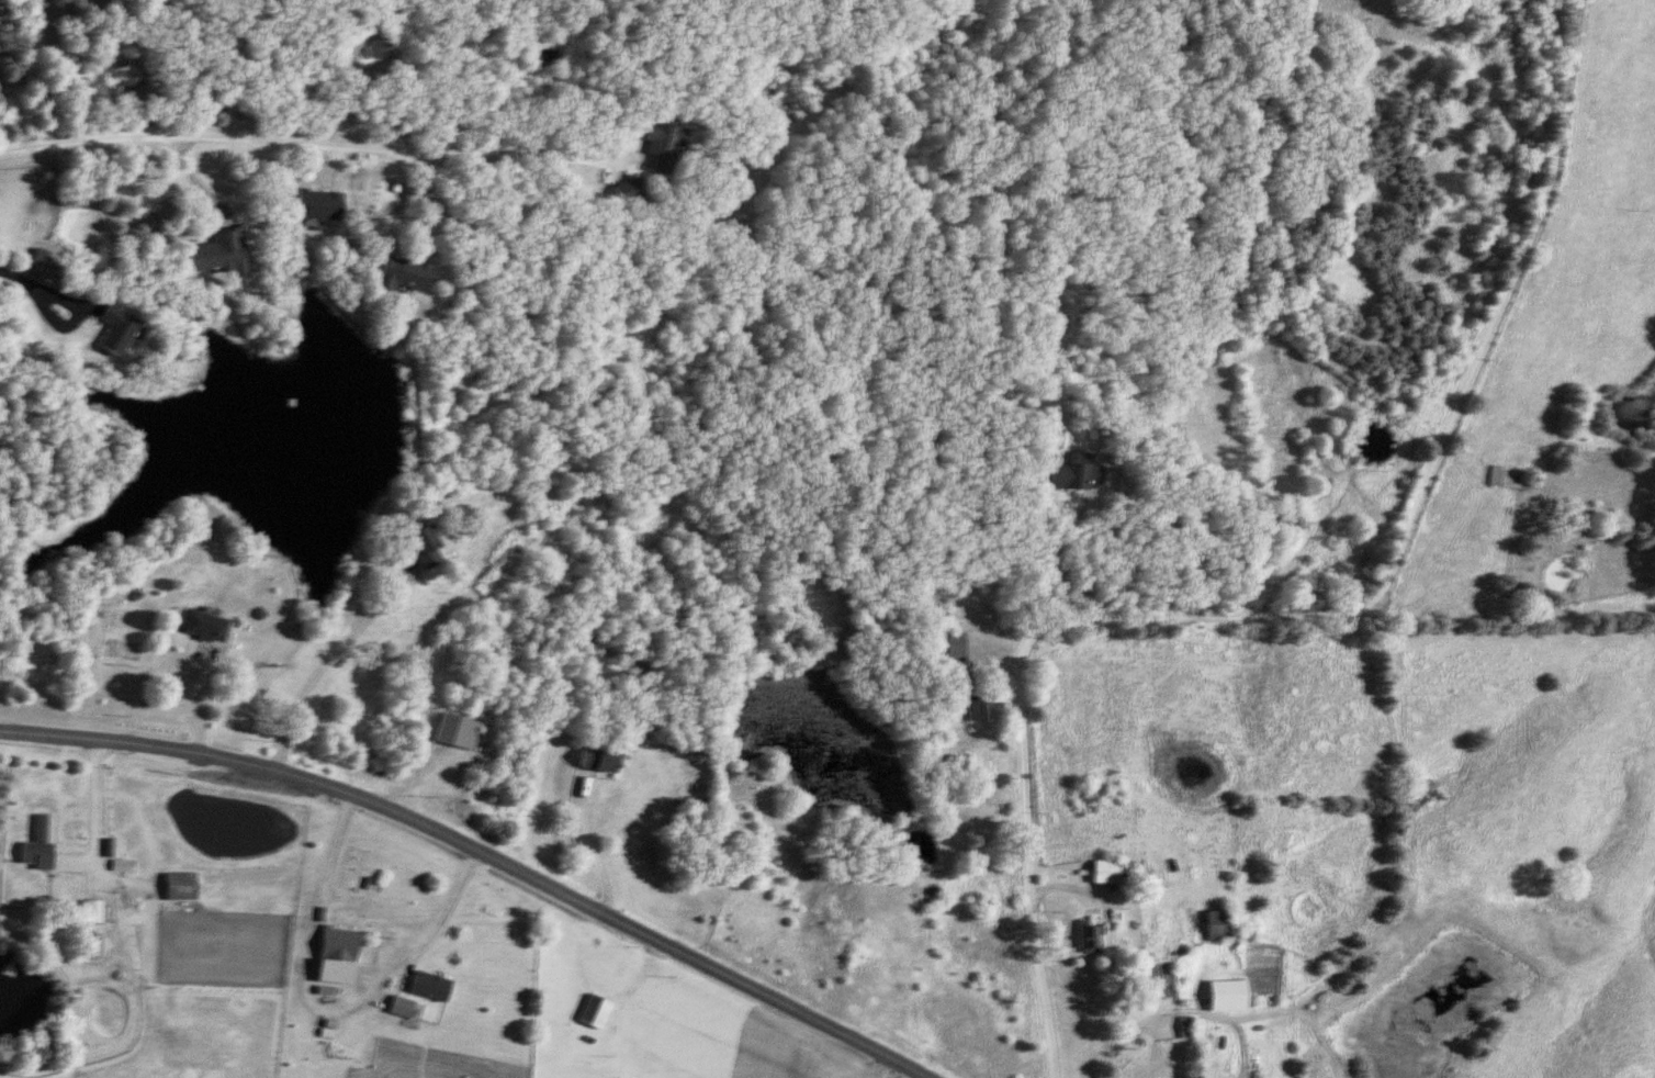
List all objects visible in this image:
road: (309, 144)
building: (656, 147)
building: (624, 191)
building: (312, 205)
building: (212, 252)
building: (392, 274)
road: (44, 314)
building: (109, 330)
building: (1043, 339)
building: (1069, 472)
building: (1502, 479)
building: (415, 548)
road: (1048, 562)
road: (1303, 619)
building: (201, 628)
building: (948, 649)
road: (329, 664)
building: (950, 678)
building: (970, 708)
building: (452, 733)
building: (590, 762)
road: (94, 819)
building: (32, 844)
road: (586, 846)
road: (475, 852)
building: (1100, 873)
building: (1137, 873)
building: (174, 886)
building: (89, 912)
building: (1213, 925)
building: (181, 929)
building: (1084, 939)
building: (91, 944)
building: (333, 945)
building: (425, 986)
building: (1225, 993)
building: (589, 1012)
building: (1179, 1028)
road: (1184, 1028)
road: (879, 1068)

